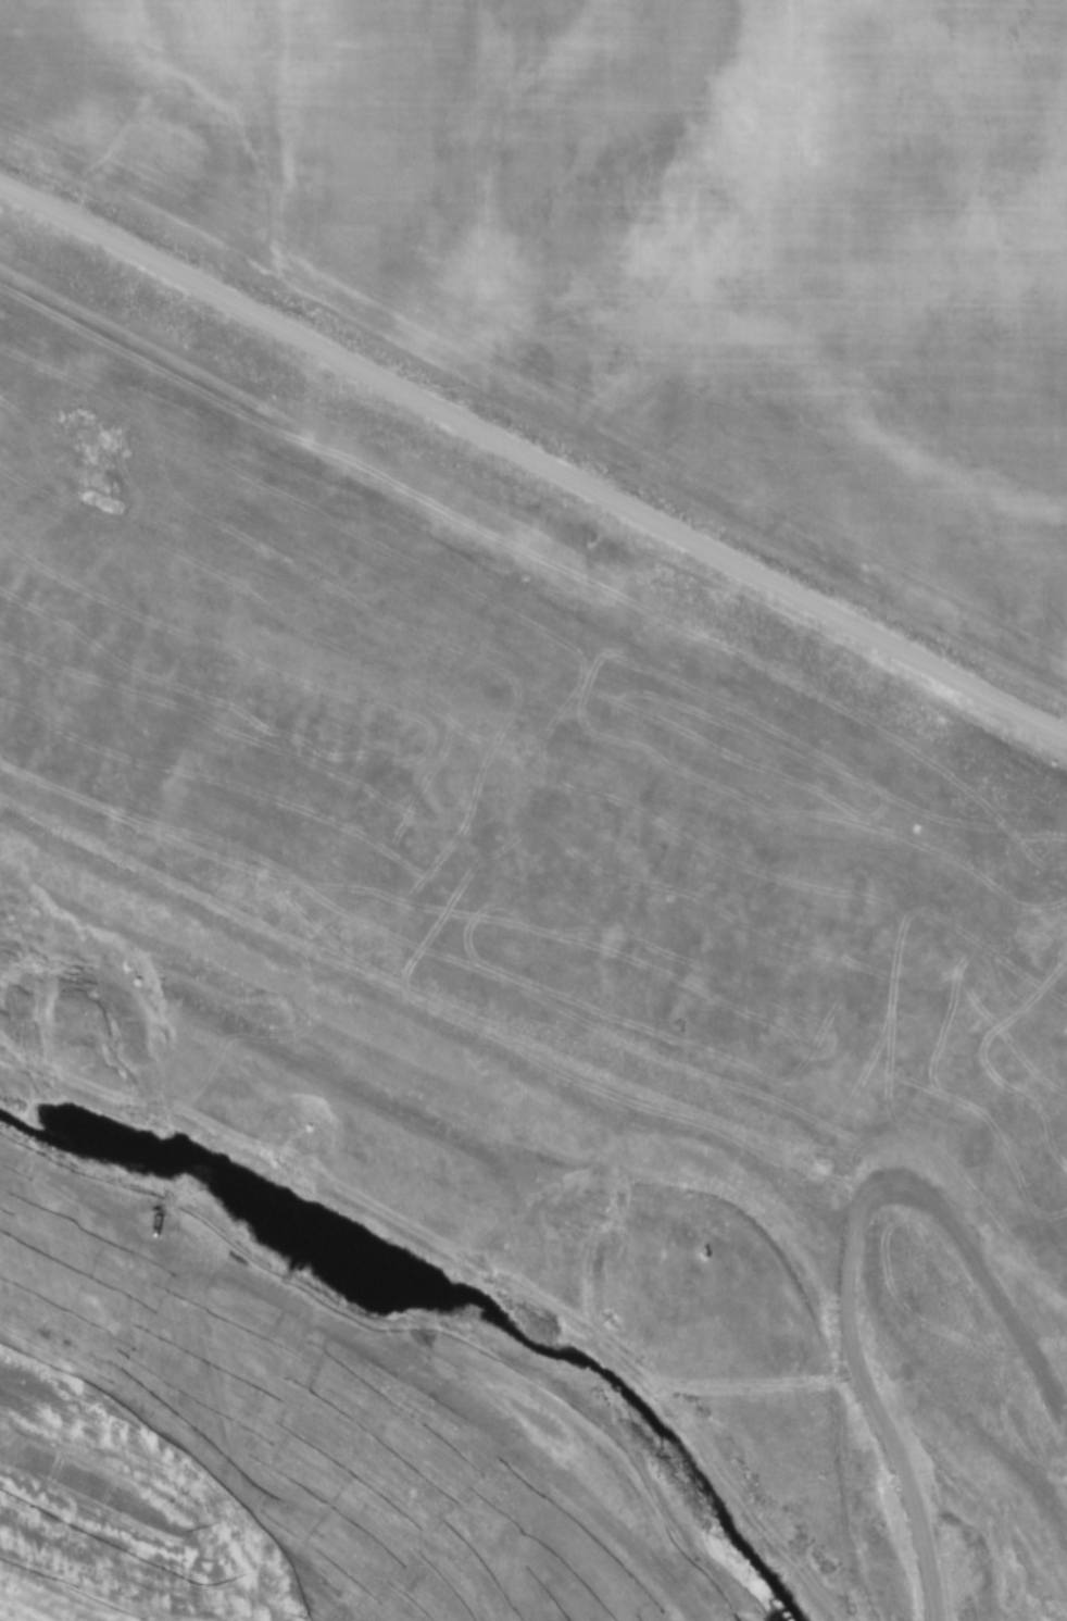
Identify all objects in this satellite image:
road: (535, 456)
road: (839, 1400)

